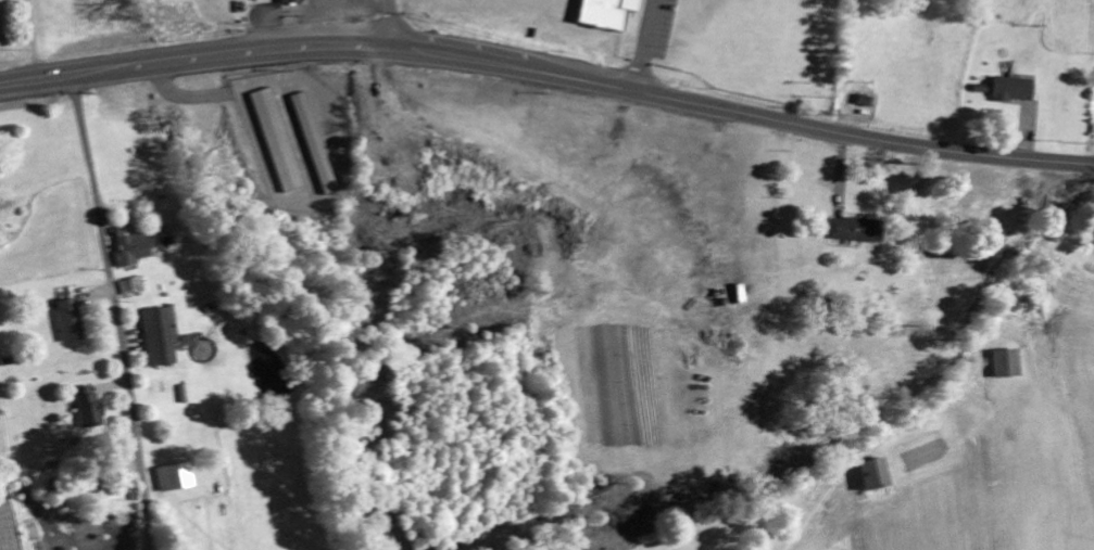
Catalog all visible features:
building: (291, 2)
building: (606, 14)
road: (393, 24)
road: (338, 46)
road: (679, 49)
building: (1013, 91)
road: (883, 140)
building: (276, 142)
building: (314, 145)
building: (856, 232)
building: (130, 250)
building: (130, 289)
building: (583, 296)
road: (115, 312)
building: (71, 322)
building: (156, 338)
building: (1006, 366)
building: (89, 408)
building: (875, 476)
building: (173, 479)

